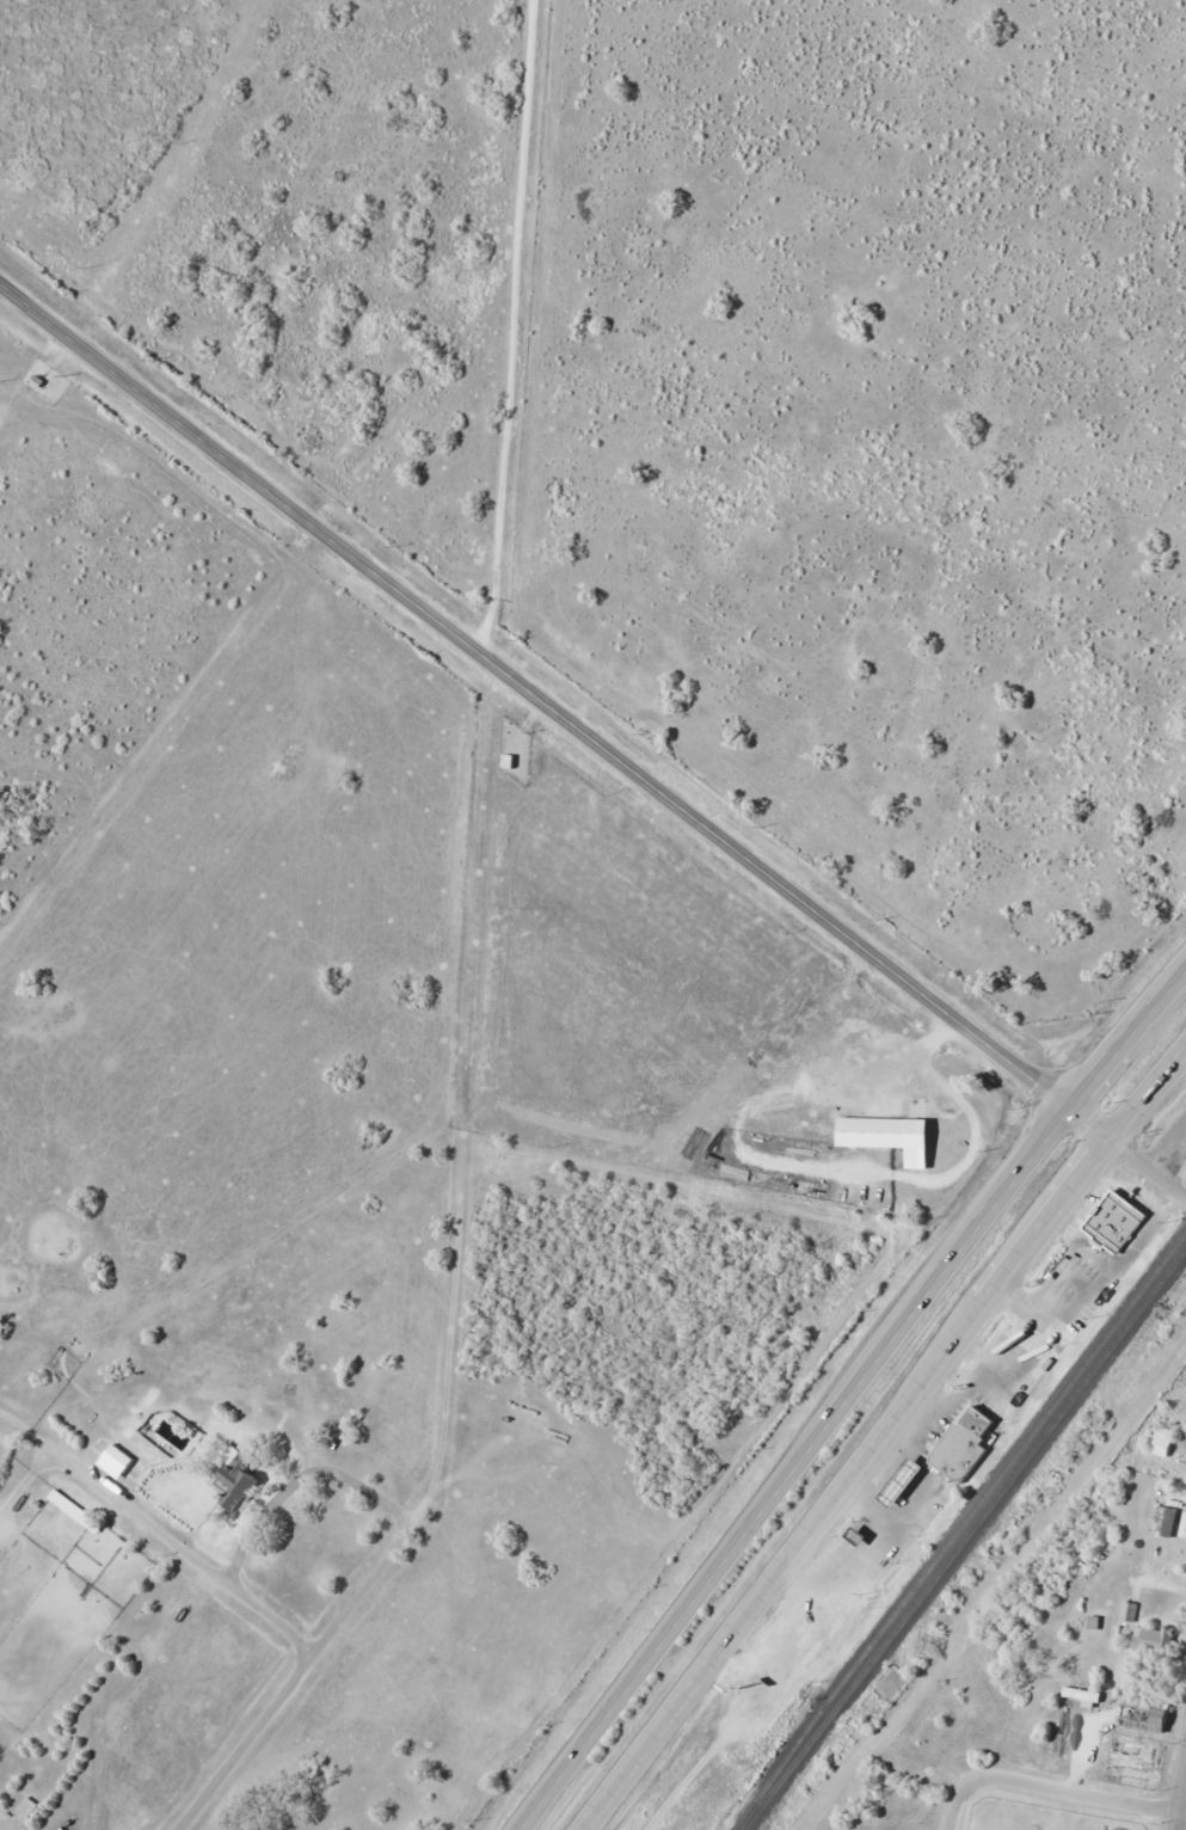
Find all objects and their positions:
road: (207, 675)
road: (554, 708)
building: (508, 760)
road: (479, 762)
road: (1130, 1038)
road: (1149, 1093)
building: (866, 1131)
road: (1149, 1162)
building: (1116, 1221)
road: (1087, 1270)
road: (25, 1432)
building: (1162, 1439)
building: (960, 1451)
building: (118, 1457)
building: (107, 1461)
road: (794, 1464)
road: (854, 1479)
building: (239, 1481)
road: (25, 1482)
building: (893, 1484)
road: (370, 1494)
building: (67, 1504)
building: (1166, 1522)
railway: (959, 1529)
railway: (965, 1539)
road: (182, 1550)
road: (1159, 1580)
building: (1129, 1613)
building: (1154, 1640)
building: (1145, 1718)
road: (246, 1740)
building: (1137, 1761)
road: (1068, 1787)
road: (1178, 1792)
building: (29, 1807)
road: (954, 1816)

